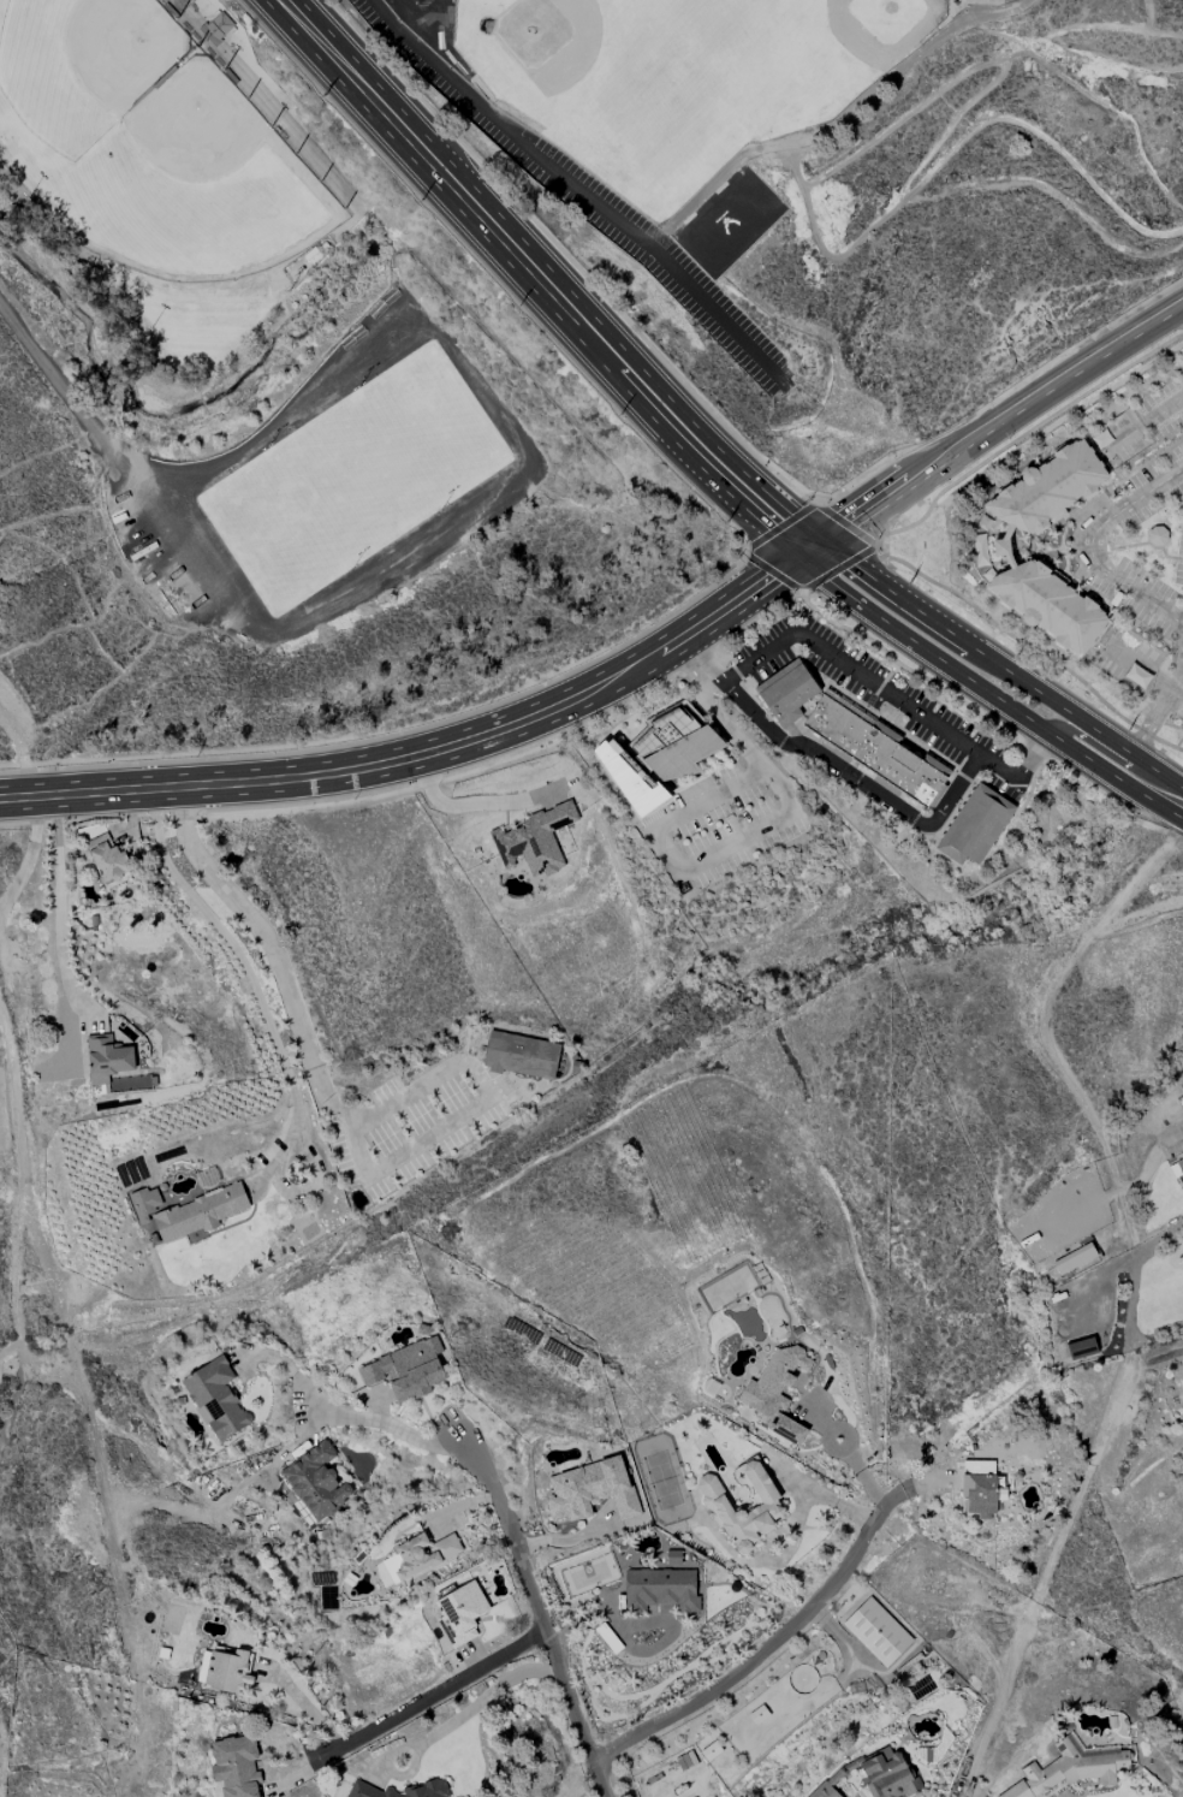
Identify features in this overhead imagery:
road: (173, 19)
building: (218, 29)
building: (209, 36)
road: (225, 57)
park: (75, 77)
building: (164, 78)
road: (130, 109)
road: (269, 130)
park: (192, 188)
road: (575, 188)
road: (779, 200)
road: (345, 221)
road: (558, 254)
road: (480, 272)
road: (160, 274)
road: (522, 286)
road: (560, 293)
road: (1182, 313)
park: (231, 324)
road: (32, 348)
road: (1052, 422)
road: (991, 433)
road: (123, 458)
park: (353, 480)
building: (1048, 492)
road: (830, 509)
road: (849, 526)
road: (780, 527)
building: (1007, 532)
building: (1159, 539)
traffic signals: (827, 544)
road: (1088, 546)
building: (1000, 547)
traffic signals: (801, 561)
building: (1009, 562)
road: (747, 568)
road: (893, 574)
road: (709, 589)
road: (821, 598)
building: (1047, 605)
road: (756, 622)
road: (1038, 652)
parking lot: (767, 654)
road: (697, 660)
road: (731, 669)
road: (1178, 670)
road: (672, 672)
road: (1017, 674)
road: (738, 675)
building: (1137, 676)
building: (778, 677)
road: (925, 680)
road: (882, 684)
road: (670, 686)
road: (755, 692)
road: (988, 695)
building: (789, 696)
road: (892, 696)
building: (815, 699)
road: (671, 704)
building: (848, 708)
parking lot: (914, 711)
building: (661, 712)
building: (689, 712)
road: (1151, 719)
road: (803, 723)
road: (19, 724)
building: (834, 725)
building: (884, 731)
building: (661, 733)
building: (636, 736)
road: (499, 743)
road: (422, 745)
road: (742, 746)
building: (902, 746)
road: (339, 747)
road: (16, 749)
building: (834, 751)
building: (620, 754)
building: (680, 754)
building: (915, 754)
building: (900, 757)
building: (634, 758)
road: (636, 758)
road: (1113, 760)
road: (1054, 761)
road: (836, 764)
building: (934, 765)
building: (894, 769)
road: (958, 772)
road: (714, 773)
road: (447, 776)
road: (963, 777)
building: (643, 778)
building: (939, 778)
building: (628, 782)
building: (884, 785)
road: (150, 789)
road: (1100, 793)
road: (54, 796)
building: (934, 796)
road: (1029, 796)
road: (476, 803)
road: (102, 805)
road: (732, 805)
road: (28, 809)
road: (203, 809)
road: (159, 812)
road: (182, 816)
road: (79, 819)
parking lot: (721, 824)
building: (973, 825)
road: (917, 835)
building: (534, 841)
road: (664, 855)
building: (107, 859)
road: (23, 861)
road: (60, 912)
road: (269, 947)
road: (248, 975)
building: (519, 1055)
building: (573, 1067)
road: (569, 1072)
road: (498, 1089)
road: (543, 1096)
road: (477, 1107)
parking lot: (415, 1125)
building: (1179, 1160)
road: (18, 1163)
building: (144, 1203)
building: (198, 1214)
building: (1074, 1258)
road: (73, 1333)
building: (1081, 1348)
road: (10, 1350)
building: (406, 1370)
road: (20, 1381)
building: (775, 1393)
building: (215, 1399)
road: (370, 1422)
road: (825, 1440)
road: (864, 1479)
building: (316, 1482)
building: (980, 1488)
building: (590, 1490)
road: (1081, 1502)
building: (717, 1504)
road: (109, 1531)
building: (660, 1589)
building: (460, 1613)
road: (537, 1617)
building: (876, 1632)
road: (763, 1653)
building: (227, 1671)
road: (433, 1695)
road: (475, 1703)
building: (234, 1767)
building: (1069, 1769)
building: (874, 1775)
building: (426, 1787)

